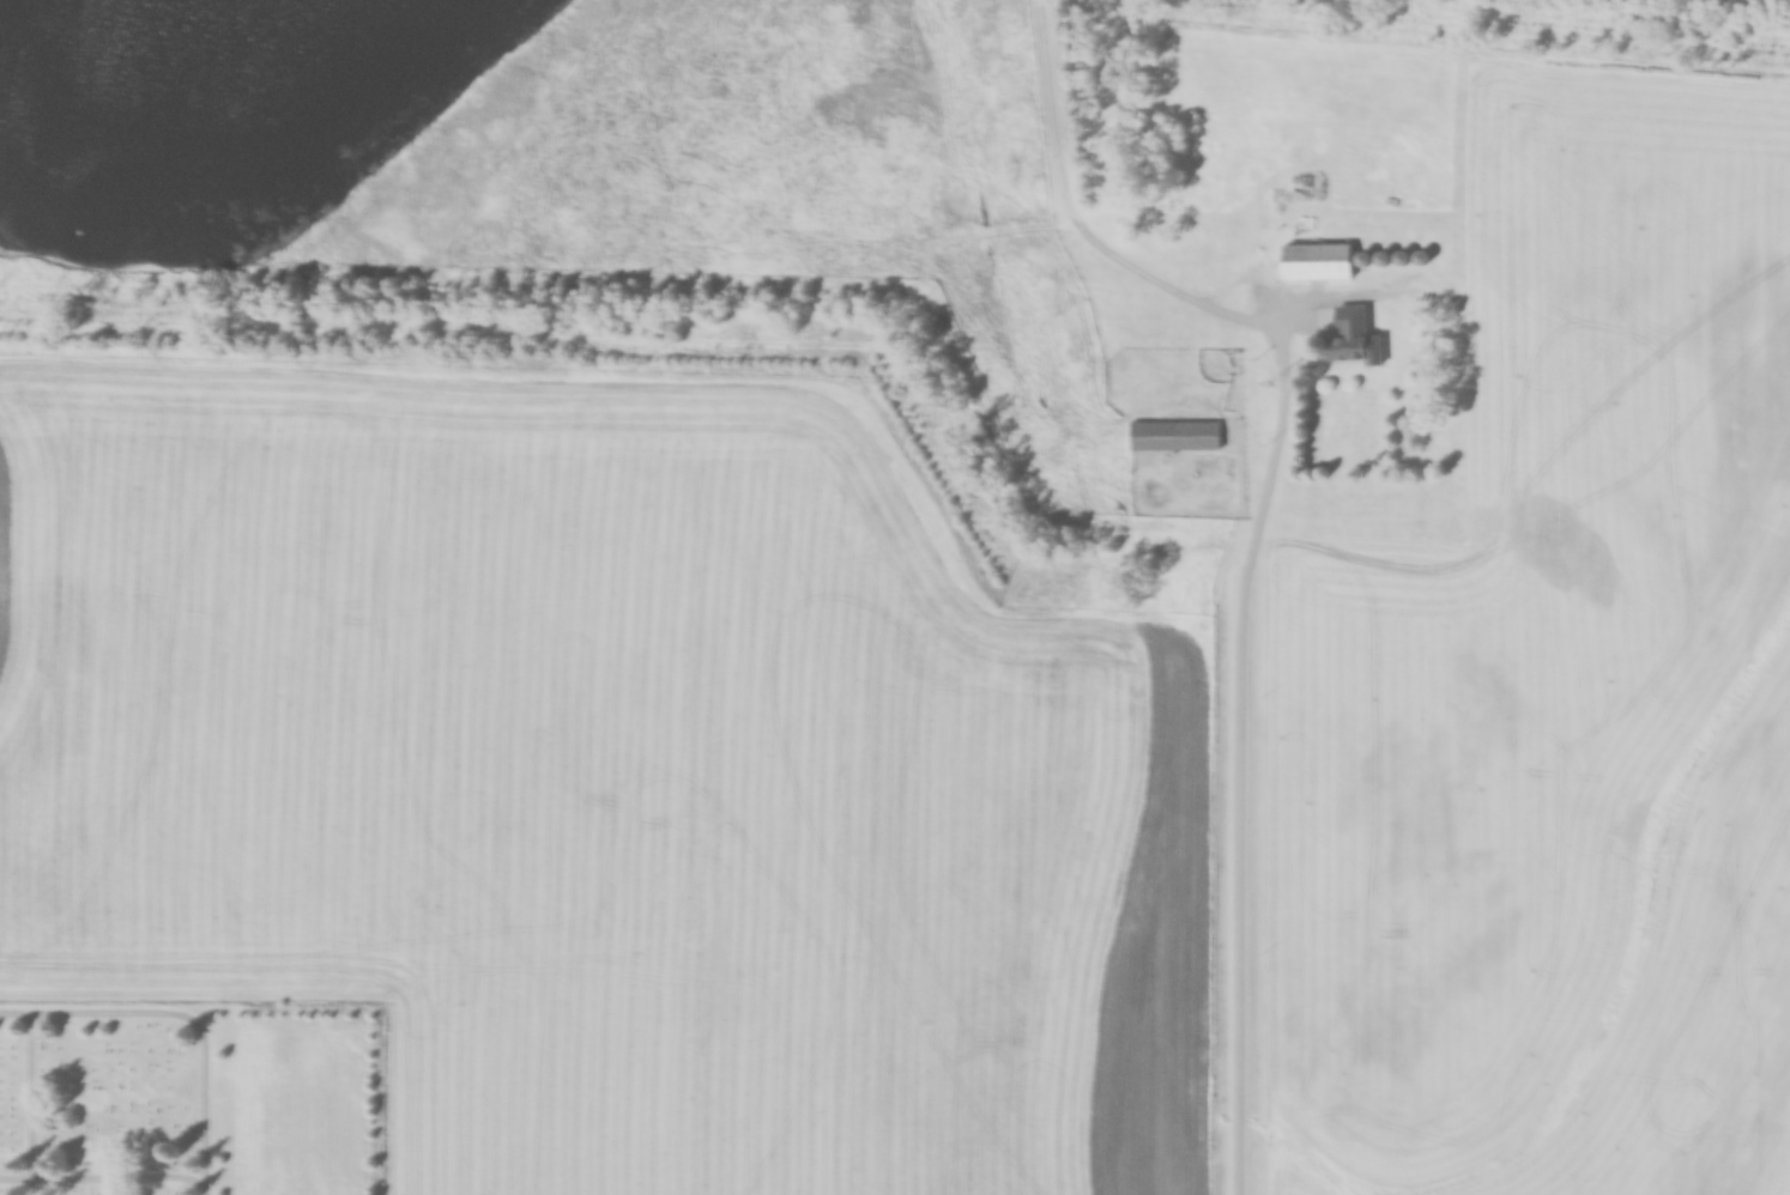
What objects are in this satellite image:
building: (1318, 262)
building: (1355, 338)
building: (1175, 436)
road: (1239, 751)

